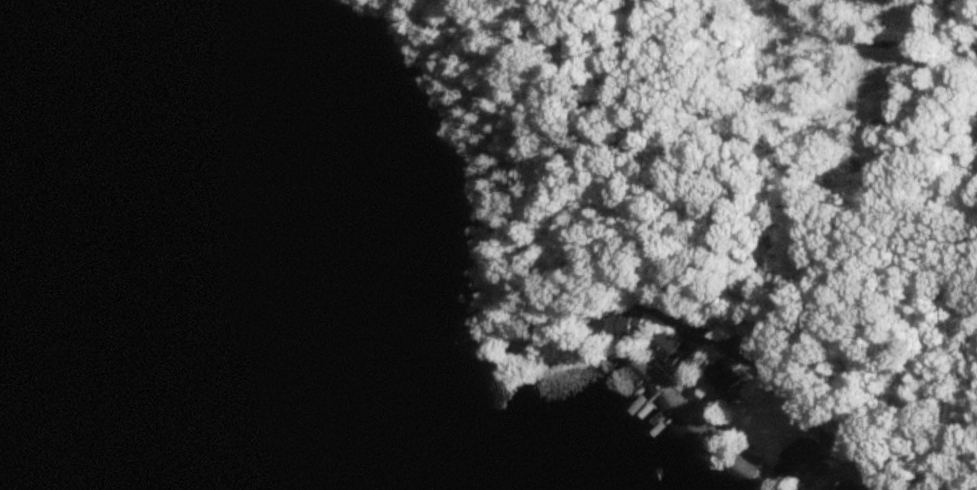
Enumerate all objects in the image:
building: (624, 325)
building: (668, 351)
building: (723, 378)
road: (815, 416)
building: (809, 462)

